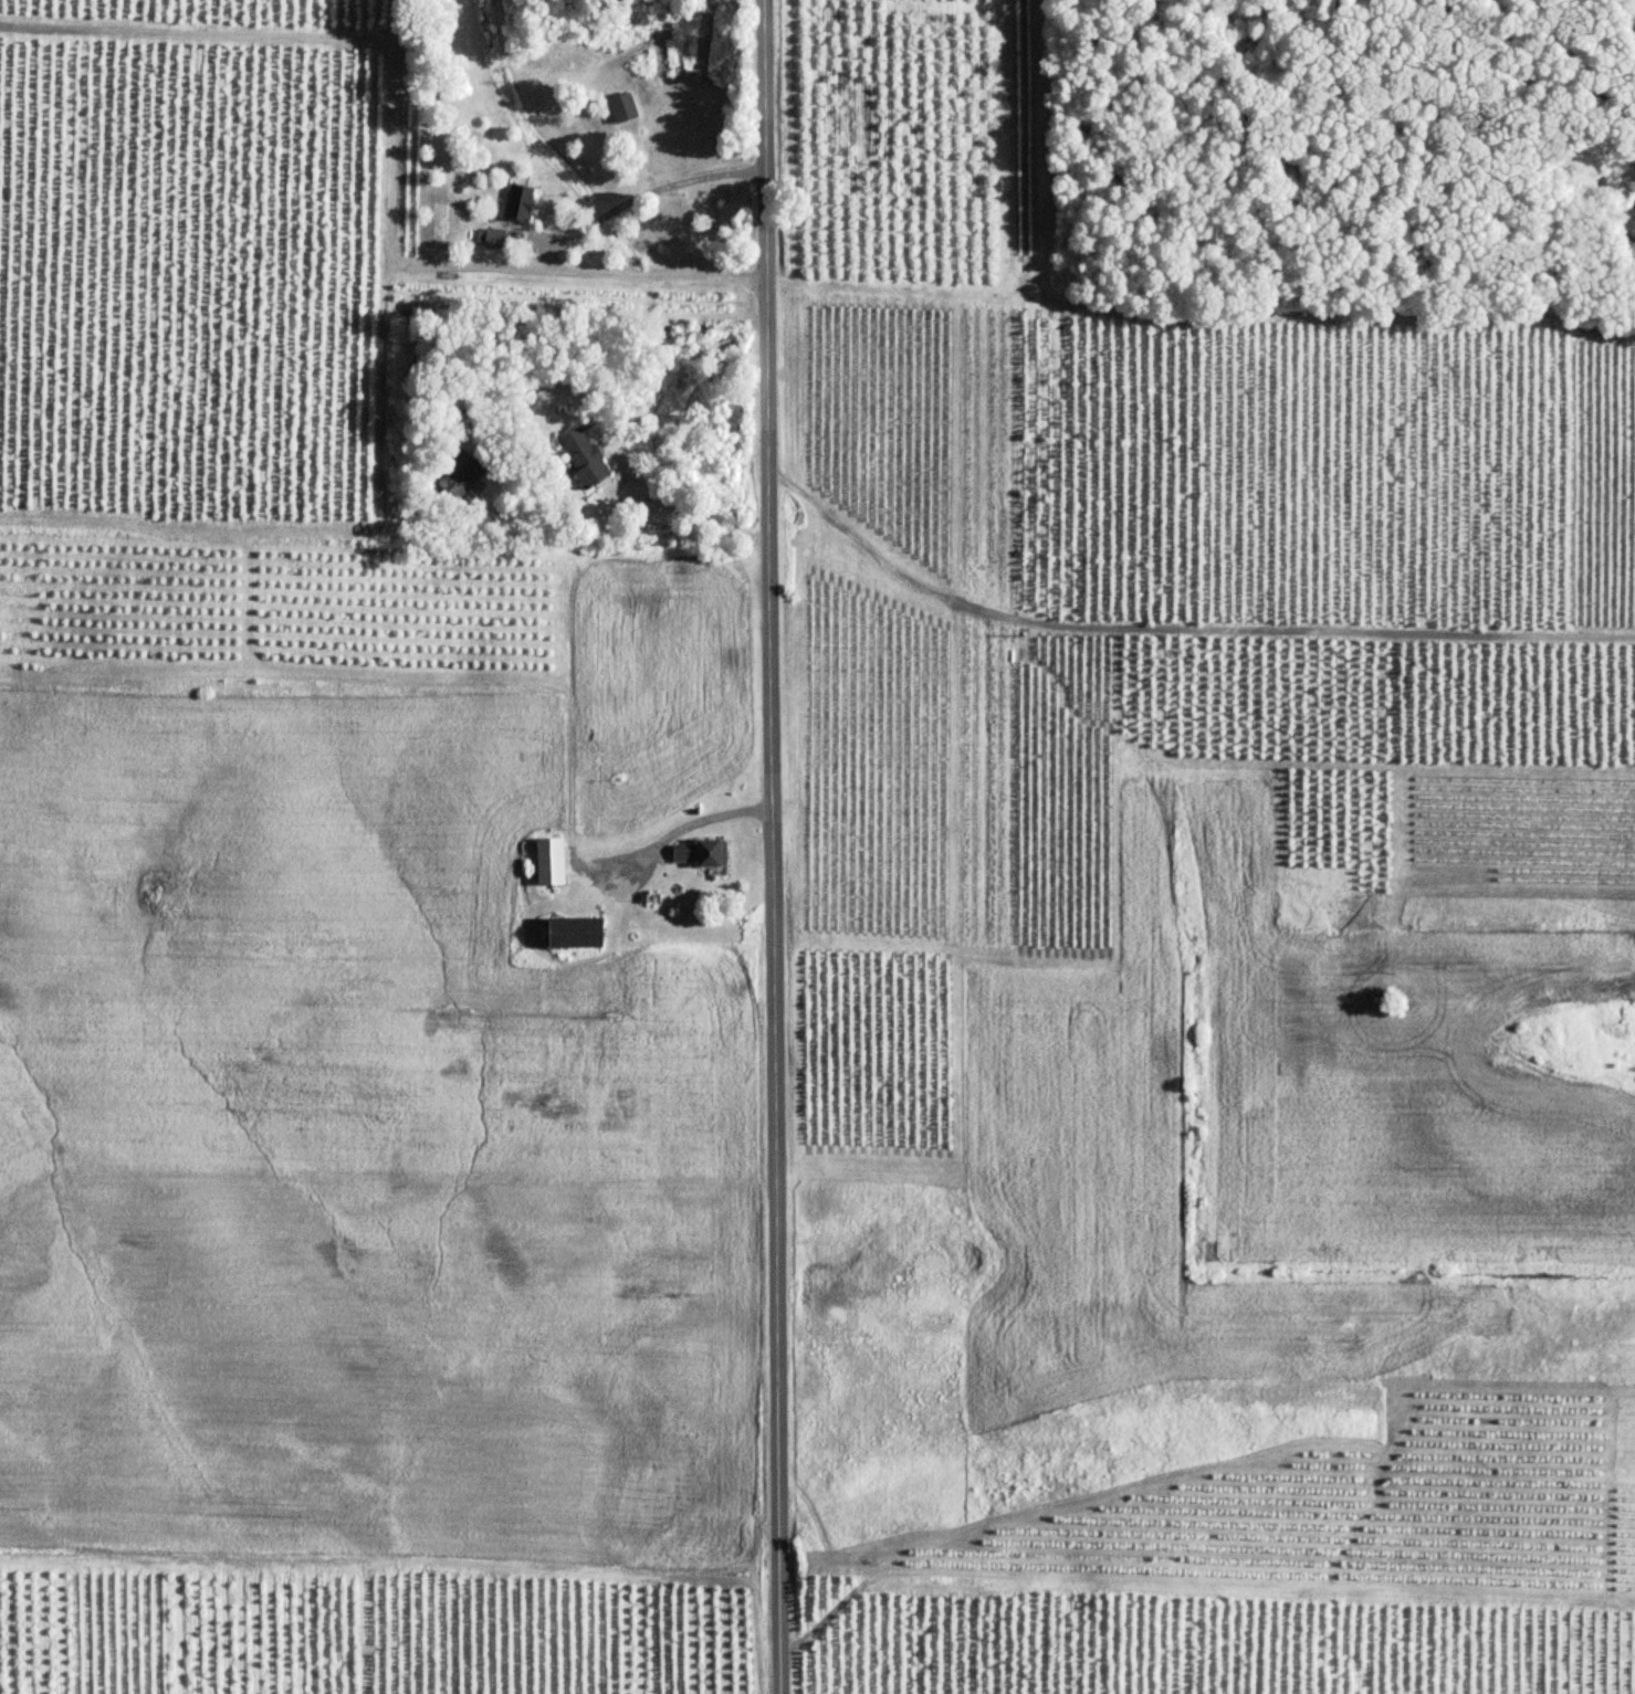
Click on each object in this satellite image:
building: (625, 109)
road: (395, 141)
road: (641, 189)
building: (521, 200)
building: (492, 240)
building: (586, 459)
building: (461, 477)
road: (688, 509)
road: (1178, 627)
road: (705, 819)
road: (773, 846)
building: (701, 853)
building: (552, 863)
building: (577, 934)

